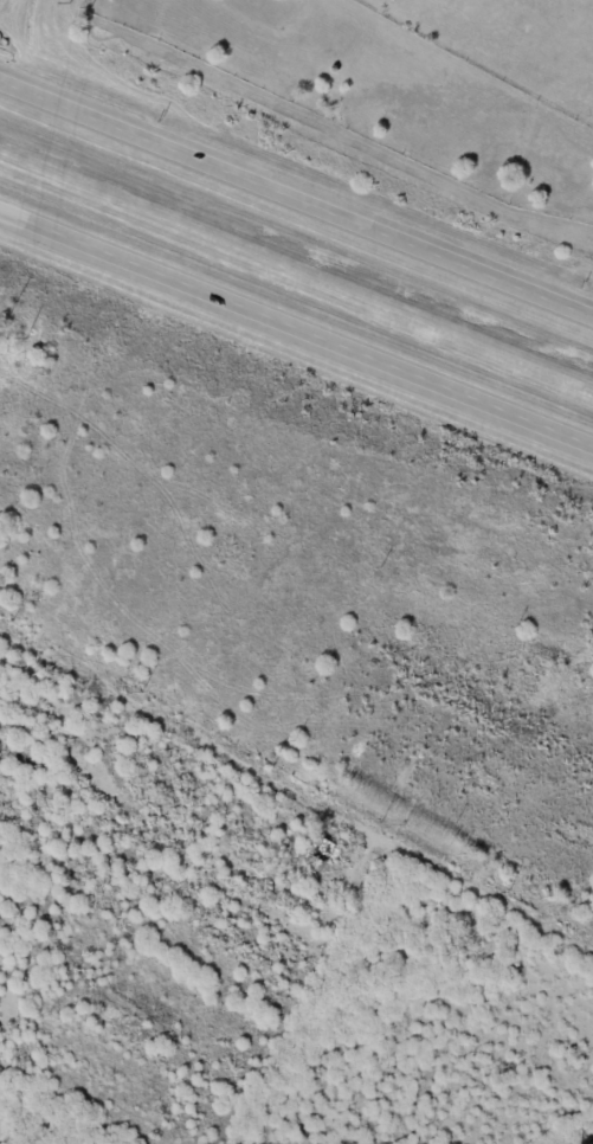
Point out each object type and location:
road: (296, 200)
road: (296, 338)
building: (40, 743)
road: (296, 798)
building: (318, 848)

